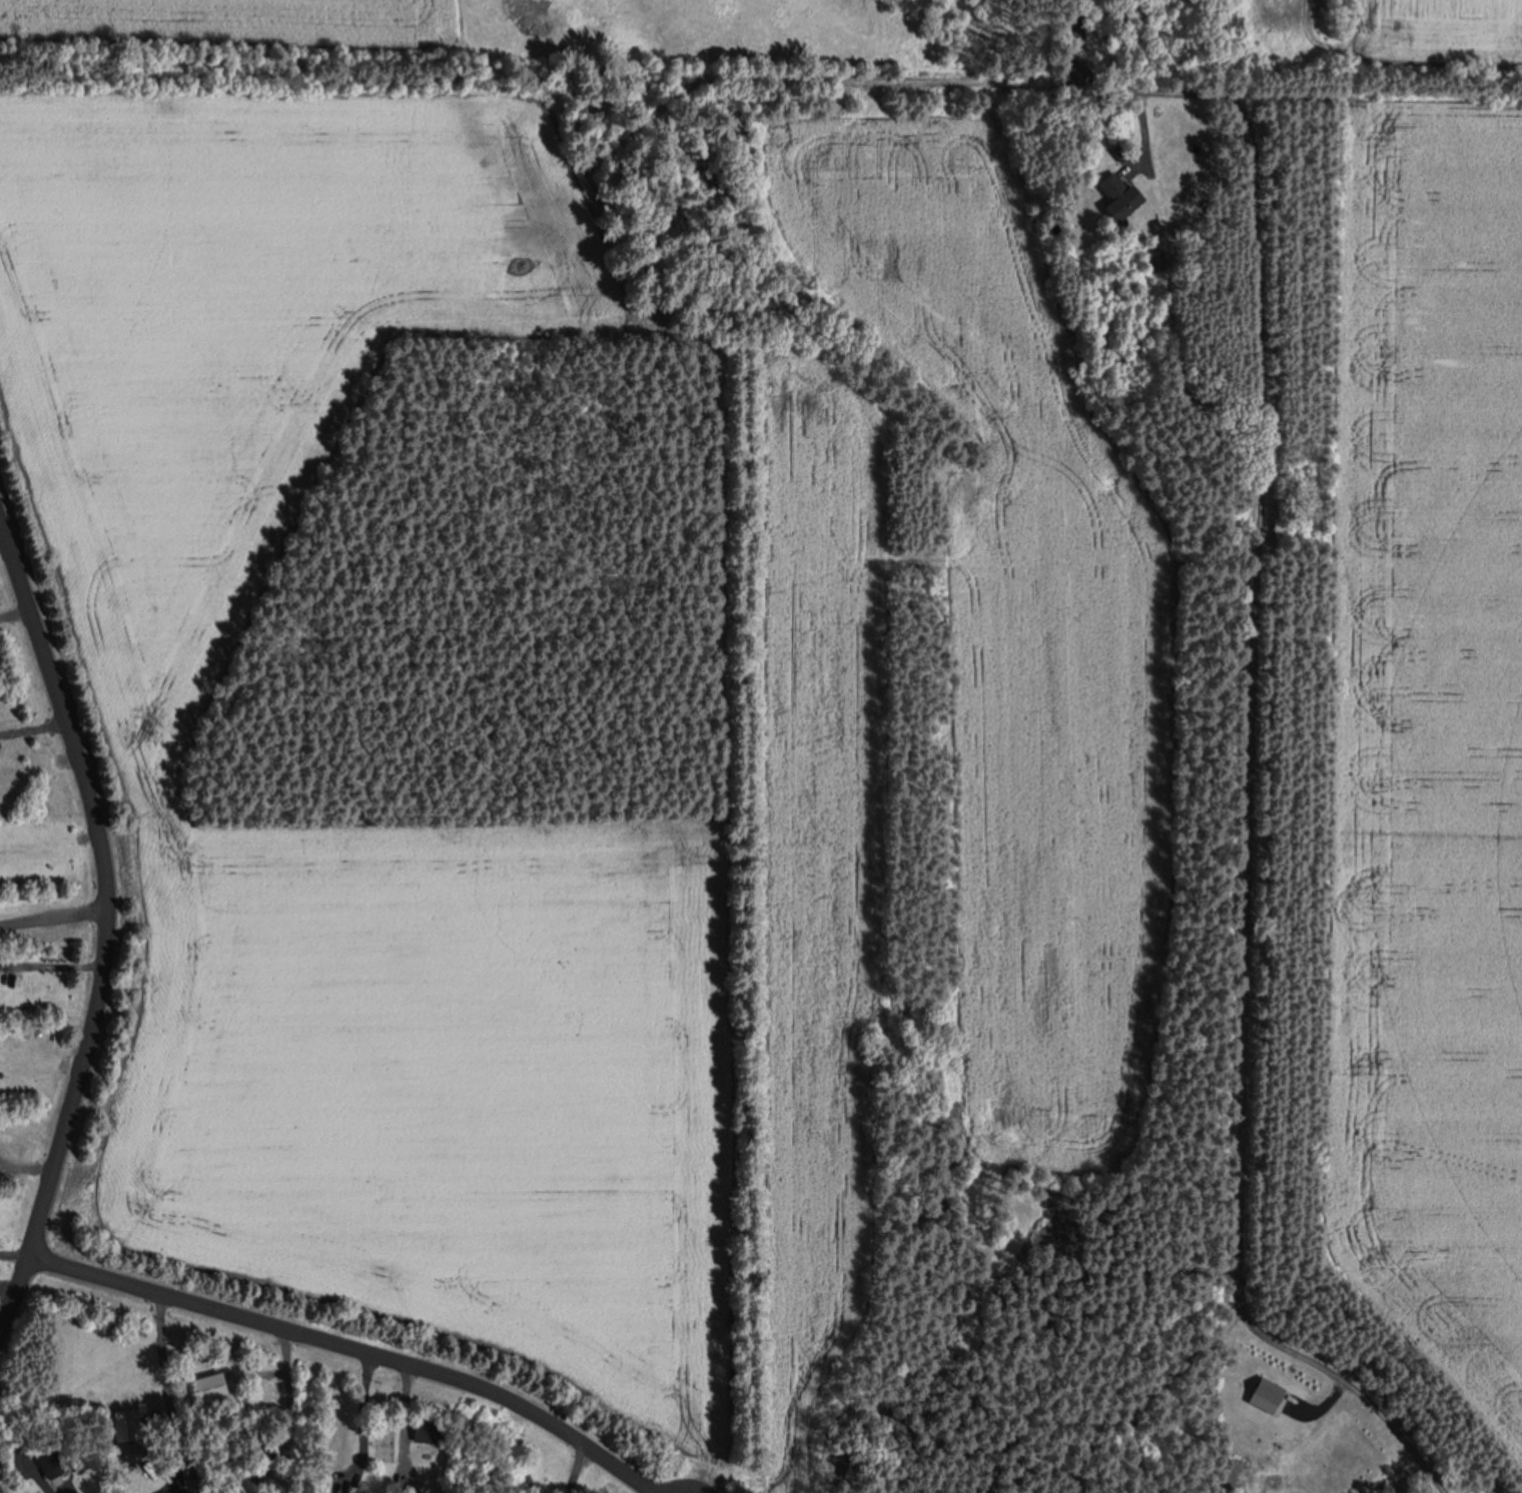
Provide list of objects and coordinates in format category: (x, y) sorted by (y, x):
road: (1069, 34)
road: (985, 84)
road: (462, 121)
building: (1113, 195)
road: (1313, 763)
road: (52, 912)
road: (104, 927)
road: (359, 1350)
building: (207, 1387)
building: (1261, 1393)
building: (120, 1419)
building: (422, 1428)
building: (52, 1459)
building: (327, 1492)

